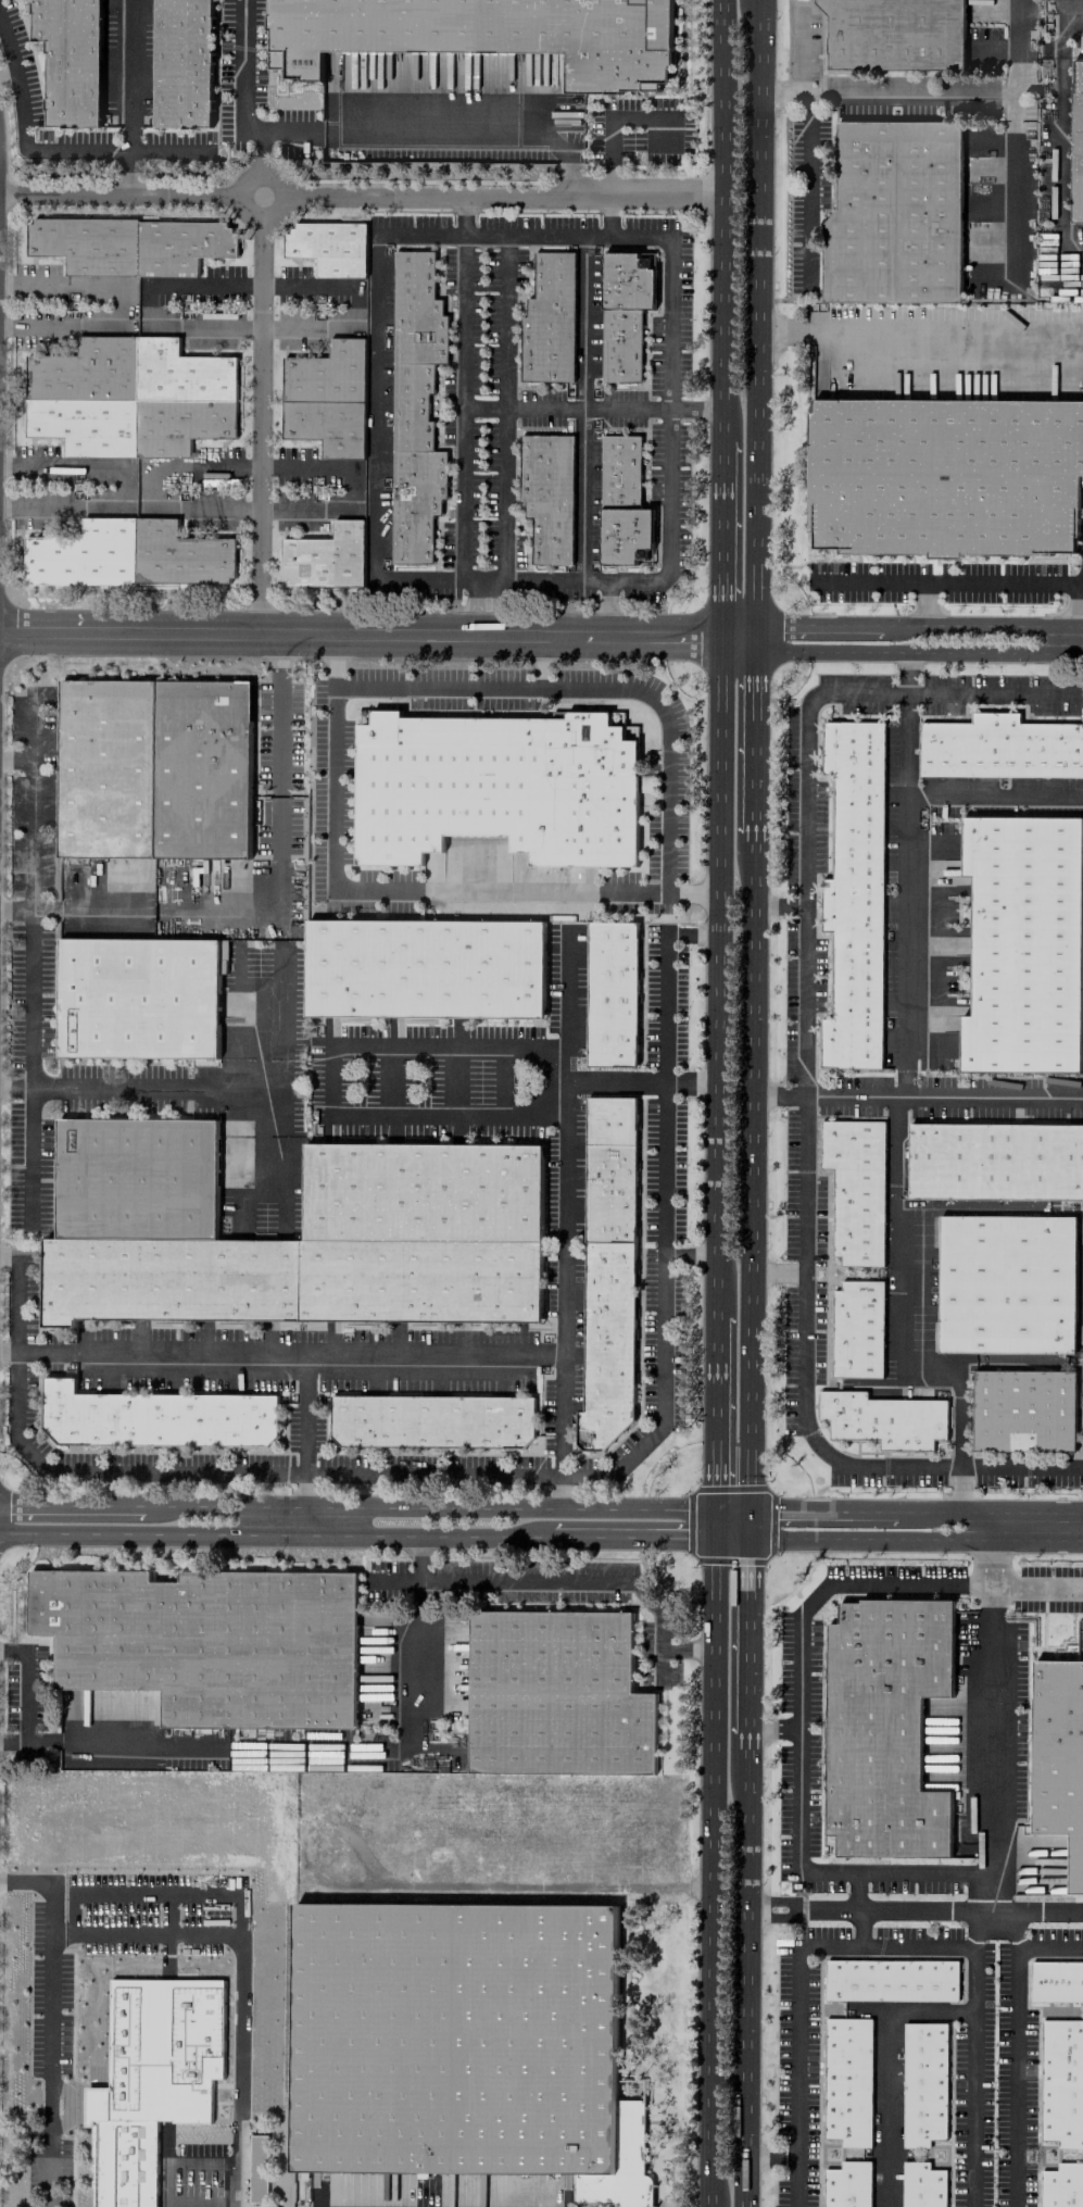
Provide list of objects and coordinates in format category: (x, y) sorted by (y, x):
road: (1062, 14)
building: (484, 34)
building: (895, 34)
road: (992, 47)
road: (1015, 48)
building: (71, 59)
building: (184, 63)
road: (129, 74)
road: (242, 74)
road: (780, 95)
road: (910, 95)
road: (1013, 108)
road: (658, 117)
road: (288, 130)
road: (453, 138)
road: (24, 139)
road: (1060, 140)
building: (1076, 141)
road: (171, 150)
road: (263, 151)
road: (129, 172)
road: (270, 175)
road: (570, 175)
road: (610, 177)
road: (807, 189)
road: (119, 192)
road: (646, 193)
road: (428, 197)
road: (1012, 200)
road: (612, 214)
building: (895, 214)
road: (464, 216)
road: (722, 218)
building: (129, 244)
building: (329, 247)
road: (147, 304)
road: (354, 305)
road: (121, 306)
building: (624, 313)
road: (754, 319)
building: (549, 321)
road: (504, 322)
road: (777, 328)
road: (941, 337)
building: (130, 397)
road: (669, 397)
building: (328, 398)
building: (415, 405)
road: (481, 406)
road: (582, 407)
road: (695, 409)
road: (375, 414)
road: (259, 426)
building: (945, 476)
road: (124, 485)
road: (147, 487)
road: (351, 487)
road: (462, 492)
road: (502, 493)
building: (547, 494)
building: (622, 503)
road: (721, 538)
building: (127, 554)
building: (326, 557)
road: (977, 585)
road: (476, 607)
road: (608, 609)
road: (453, 635)
road: (995, 639)
road: (333, 649)
road: (282, 657)
road: (541, 662)
road: (907, 665)
road: (617, 688)
road: (995, 691)
road: (753, 736)
road: (281, 738)
building: (999, 748)
road: (15, 757)
building: (154, 768)
building: (496, 786)
road: (994, 793)
road: (30, 801)
road: (280, 826)
road: (331, 833)
road: (803, 874)
road: (509, 892)
road: (693, 894)
building: (854, 895)
road: (28, 911)
road: (194, 911)
road: (279, 923)
building: (1023, 943)
road: (718, 966)
building: (424, 968)
building: (612, 994)
building: (138, 999)
road: (32, 1000)
road: (279, 1023)
road: (328, 1078)
road: (568, 1079)
road: (15, 1088)
road: (171, 1088)
road: (853, 1096)
road: (992, 1099)
road: (285, 1109)
road: (897, 1109)
road: (30, 1157)
building: (996, 1161)
road: (260, 1171)
road: (751, 1186)
building: (855, 1189)
building: (423, 1192)
road: (242, 1203)
building: (1027, 1209)
road: (663, 1213)
road: (690, 1255)
building: (608, 1270)
road: (777, 1272)
building: (1006, 1283)
road: (561, 1293)
building: (857, 1329)
road: (804, 1346)
road: (279, 1352)
building: (1023, 1410)
building: (156, 1417)
road: (715, 1417)
building: (883, 1419)
building: (432, 1420)
road: (305, 1443)
road: (1021, 1468)
road: (185, 1470)
road: (958, 1490)
road: (373, 1506)
traffic signals: (715, 1507)
traffic signals: (745, 1508)
road: (851, 1510)
road: (977, 1512)
road: (1040, 1512)
road: (374, 1534)
traffic signals: (714, 1538)
traffic signals: (747, 1540)
road: (854, 1540)
road: (978, 1542)
road: (1040, 1542)
road: (995, 1548)
road: (416, 1556)
road: (392, 1579)
road: (501, 1580)
road: (833, 1585)
road: (1037, 1585)
road: (747, 1633)
building: (209, 1642)
road: (659, 1665)
road: (24, 1685)
building: (556, 1695)
building: (885, 1726)
road: (772, 1727)
road: (747, 1740)
road: (113, 1744)
road: (992, 1747)
road: (342, 1748)
building: (1059, 1756)
road: (746, 1831)
road: (823, 1871)
road: (713, 1872)
road: (855, 1890)
road: (155, 1892)
road: (775, 1901)
road: (897, 1909)
road: (1037, 1910)
road: (166, 1913)
road: (775, 1917)
road: (859, 1928)
road: (1017, 1929)
road: (802, 1946)
road: (238, 1979)
building: (891, 1980)
building: (1056, 1980)
road: (49, 2021)
road: (745, 2031)
building: (463, 2045)
road: (1017, 2045)
road: (887, 2067)
road: (971, 2076)
building: (847, 2081)
building: (923, 2082)
building: (1062, 2082)
road: (770, 2154)
road: (182, 2160)
building: (124, 2164)
building: (257, 2168)
road: (795, 2180)
road: (744, 2181)
building: (848, 2184)
building: (922, 2185)
building: (1061, 2186)
road: (196, 2202)
road: (231, 2205)

